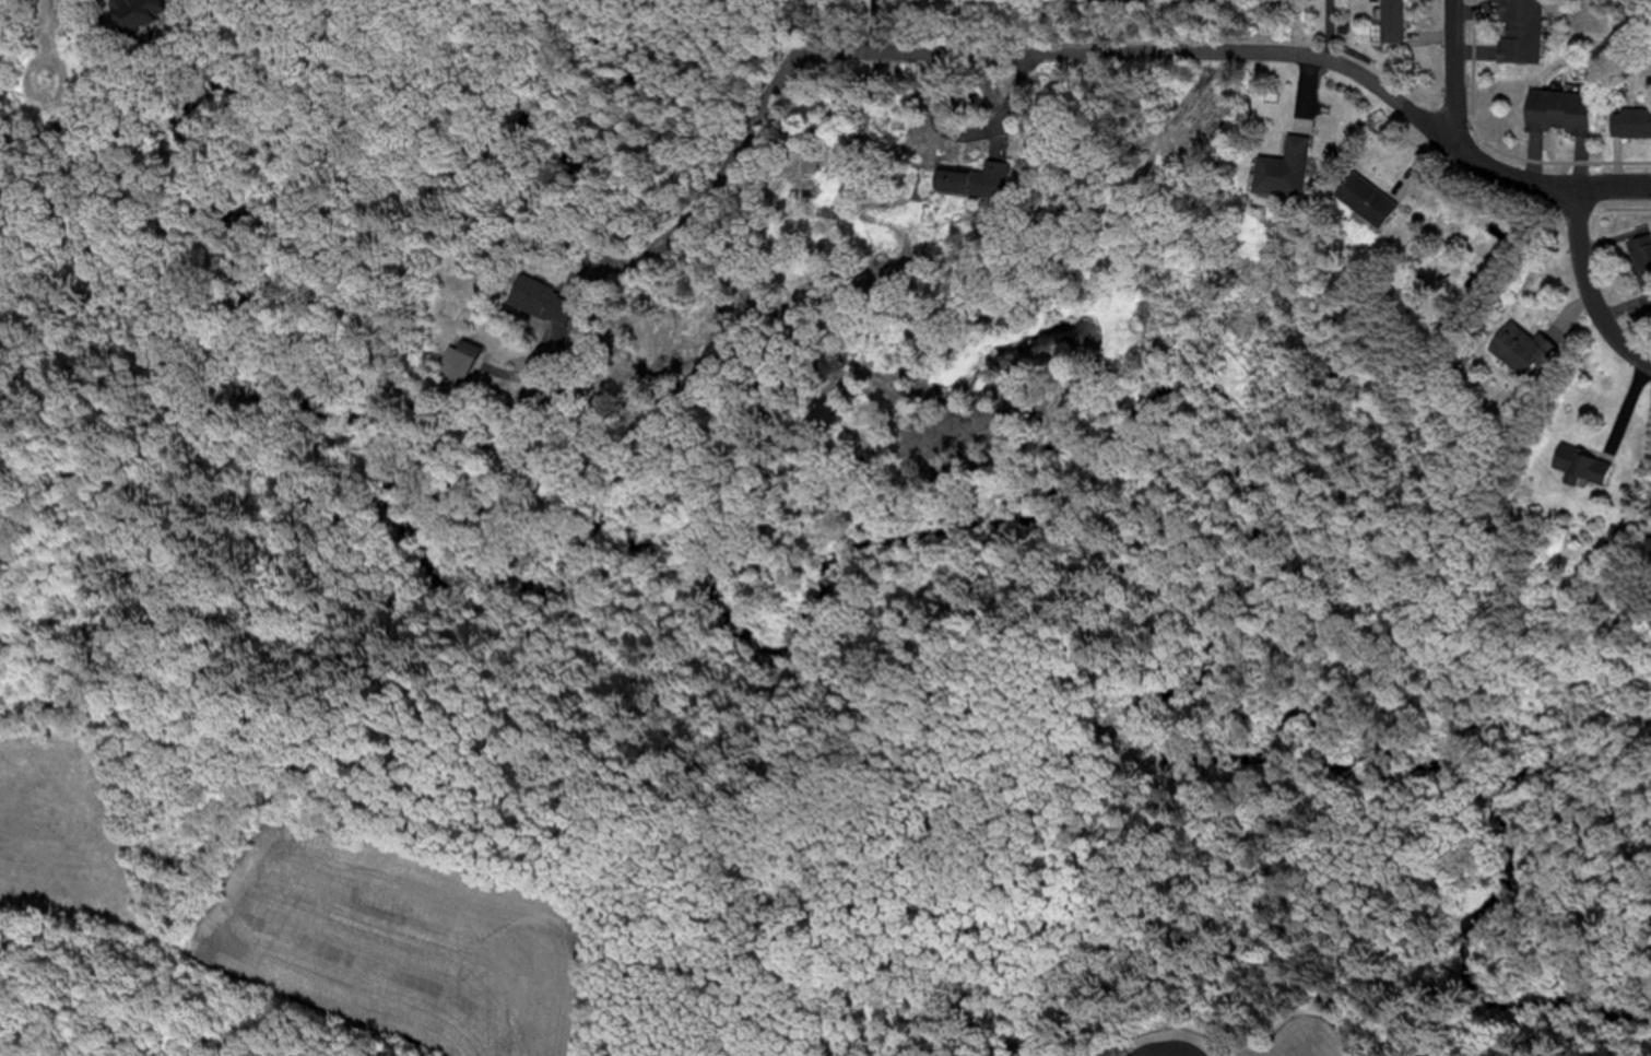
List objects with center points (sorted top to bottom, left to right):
road: (49, 12)
building: (155, 13)
building: (1388, 21)
building: (1514, 32)
road: (1108, 51)
road: (1454, 71)
road: (45, 102)
building: (1554, 113)
building: (1628, 124)
building: (1278, 168)
building: (965, 184)
building: (1354, 195)
building: (1640, 261)
road: (1587, 290)
building: (536, 301)
building: (1509, 349)
building: (472, 360)
building: (1575, 466)
building: (1648, 507)
crop: (307, 912)

